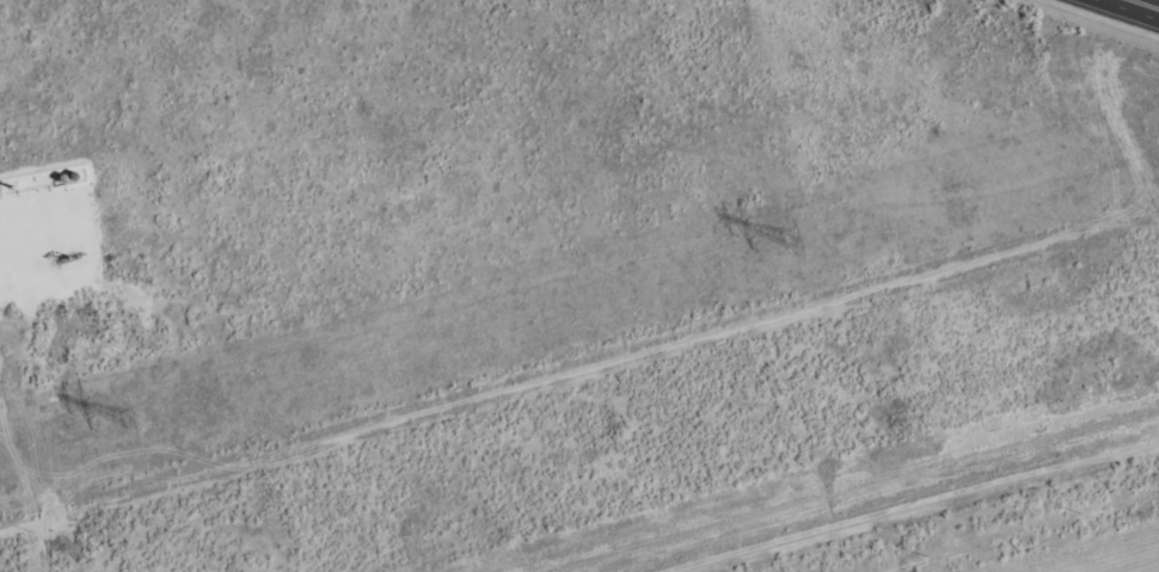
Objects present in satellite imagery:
road: (1140, 6)
power tower: (789, 240)
power tower: (125, 420)

